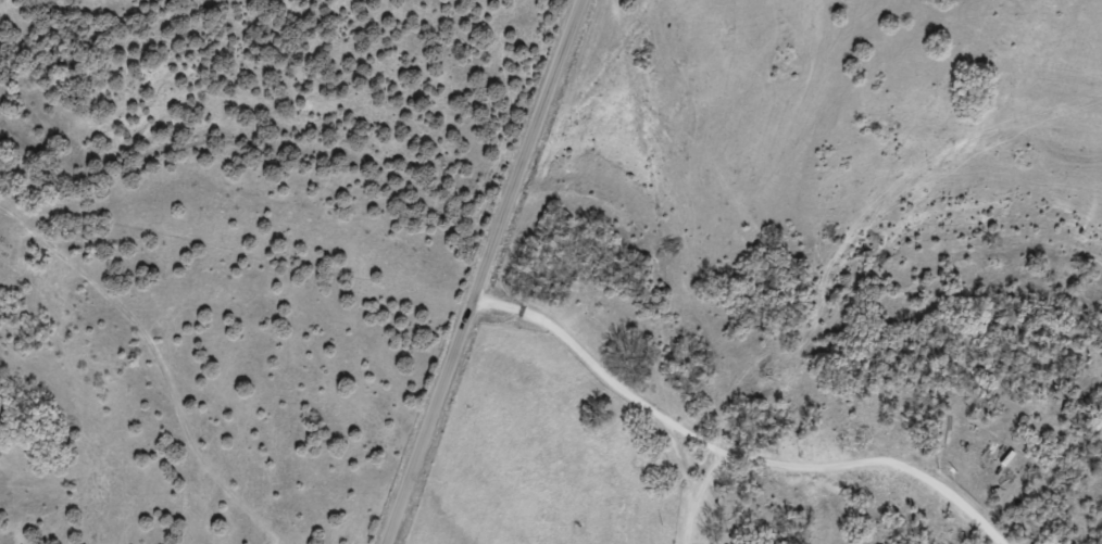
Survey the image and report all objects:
road: (524, 271)
building: (654, 464)

